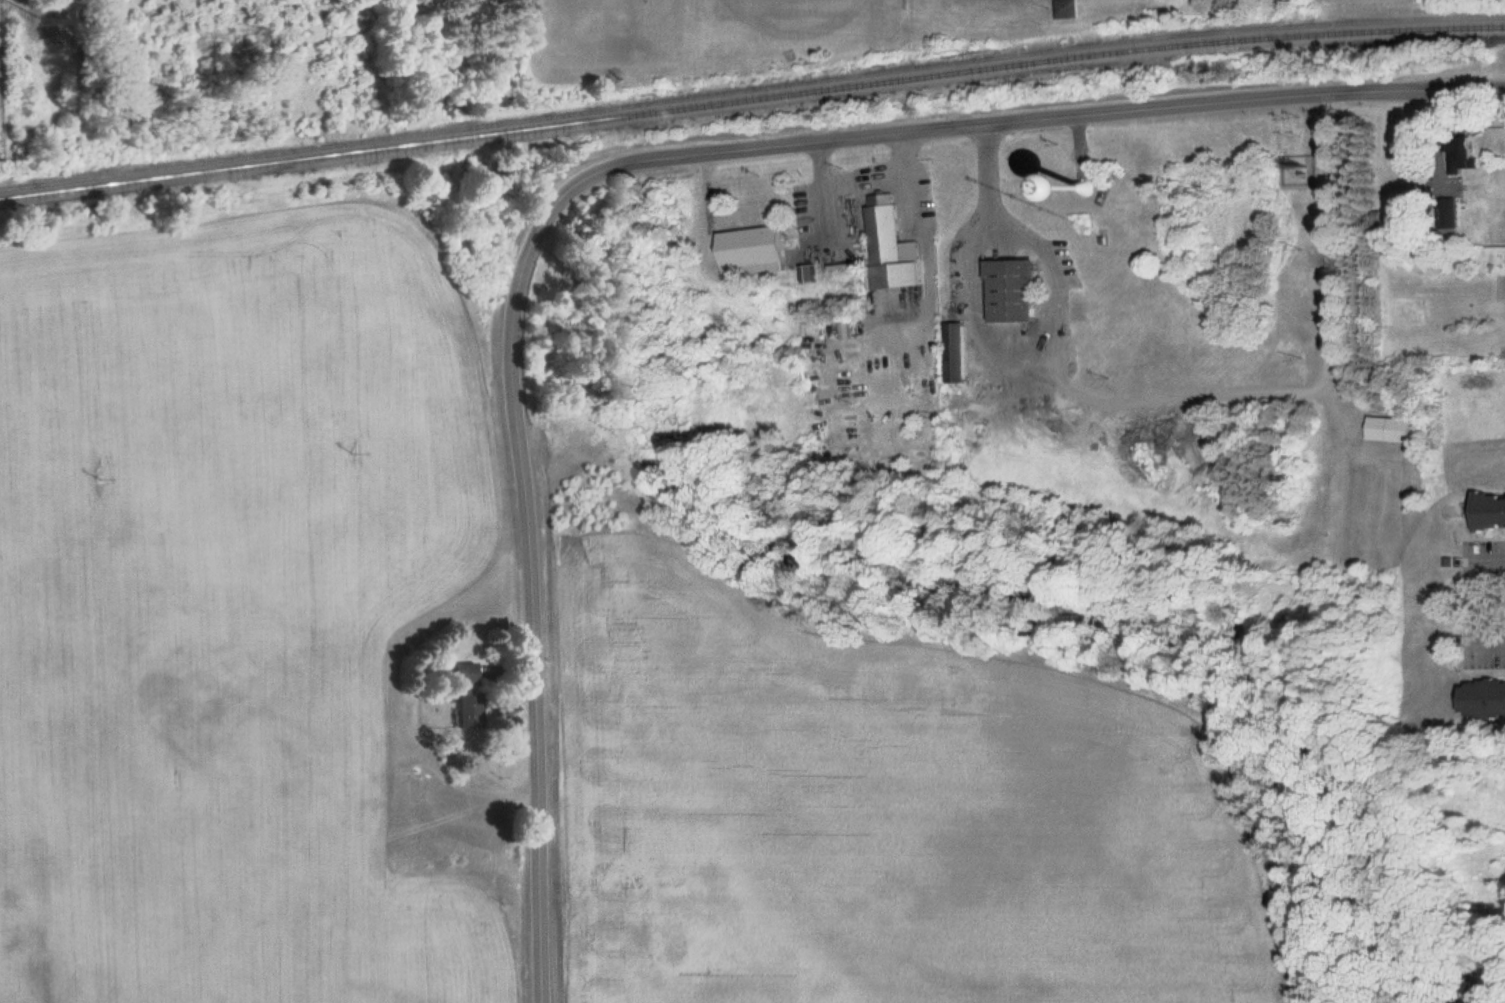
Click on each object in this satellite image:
building: (1072, 8)
park: (779, 30)
railway: (751, 87)
railway: (751, 97)
building: (1474, 152)
road: (616, 161)
building: (1130, 183)
water tower: (1090, 186)
building: (760, 245)
building: (900, 245)
building: (1021, 289)
building: (962, 351)
building: (1396, 428)
building: (1491, 510)
building: (467, 691)
building: (1488, 698)

